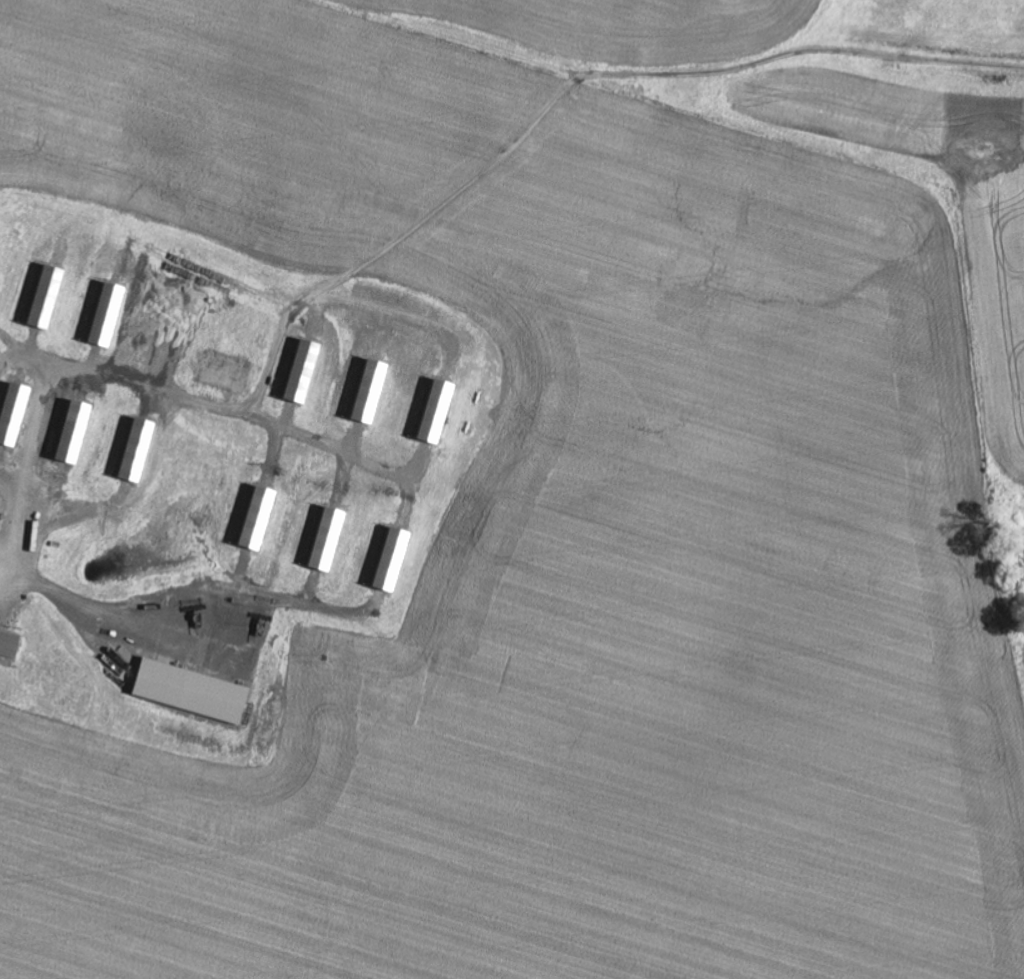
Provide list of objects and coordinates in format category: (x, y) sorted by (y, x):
road: (702, 69)
building: (50, 298)
building: (109, 316)
building: (226, 373)
building: (306, 373)
building: (437, 412)
building: (17, 416)
building: (78, 434)
building: (141, 452)
building: (261, 519)
building: (329, 540)
building: (10, 646)
building: (195, 693)

